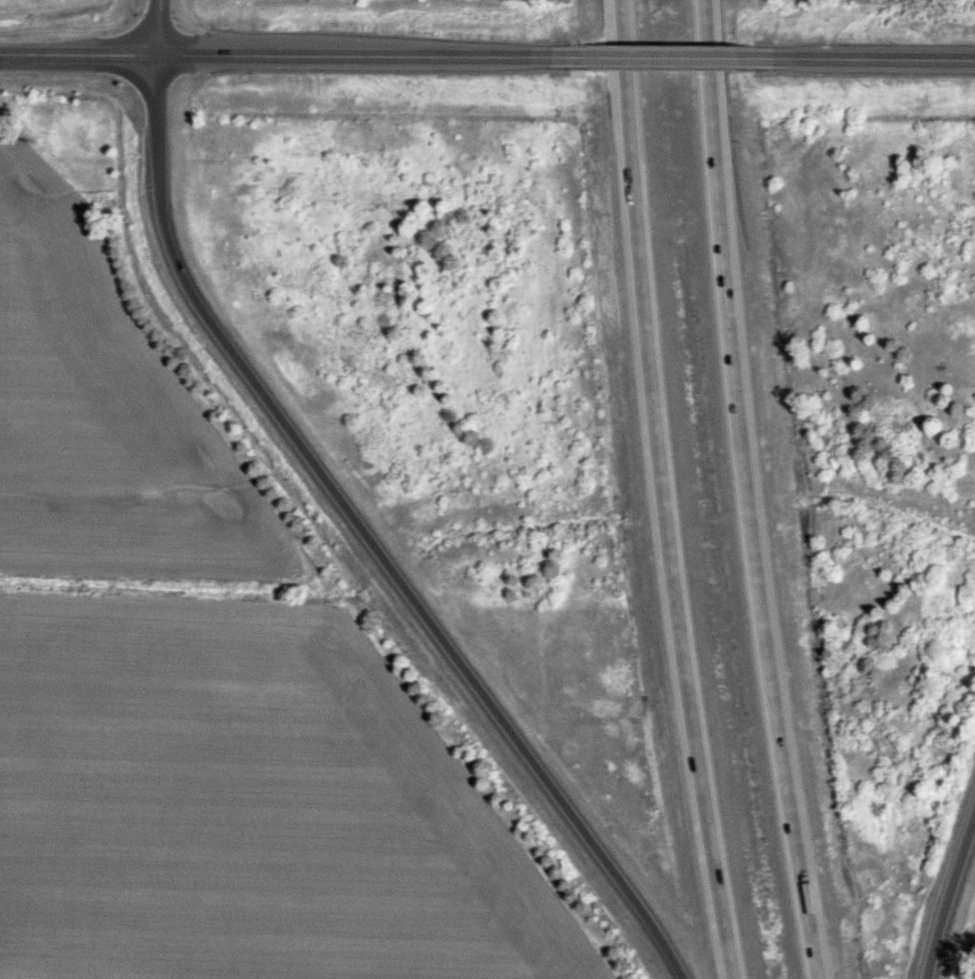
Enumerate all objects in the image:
road: (156, 24)
road: (297, 51)
road: (880, 56)
road: (690, 57)
road: (658, 491)
road: (746, 491)
road: (365, 533)
road: (945, 889)

